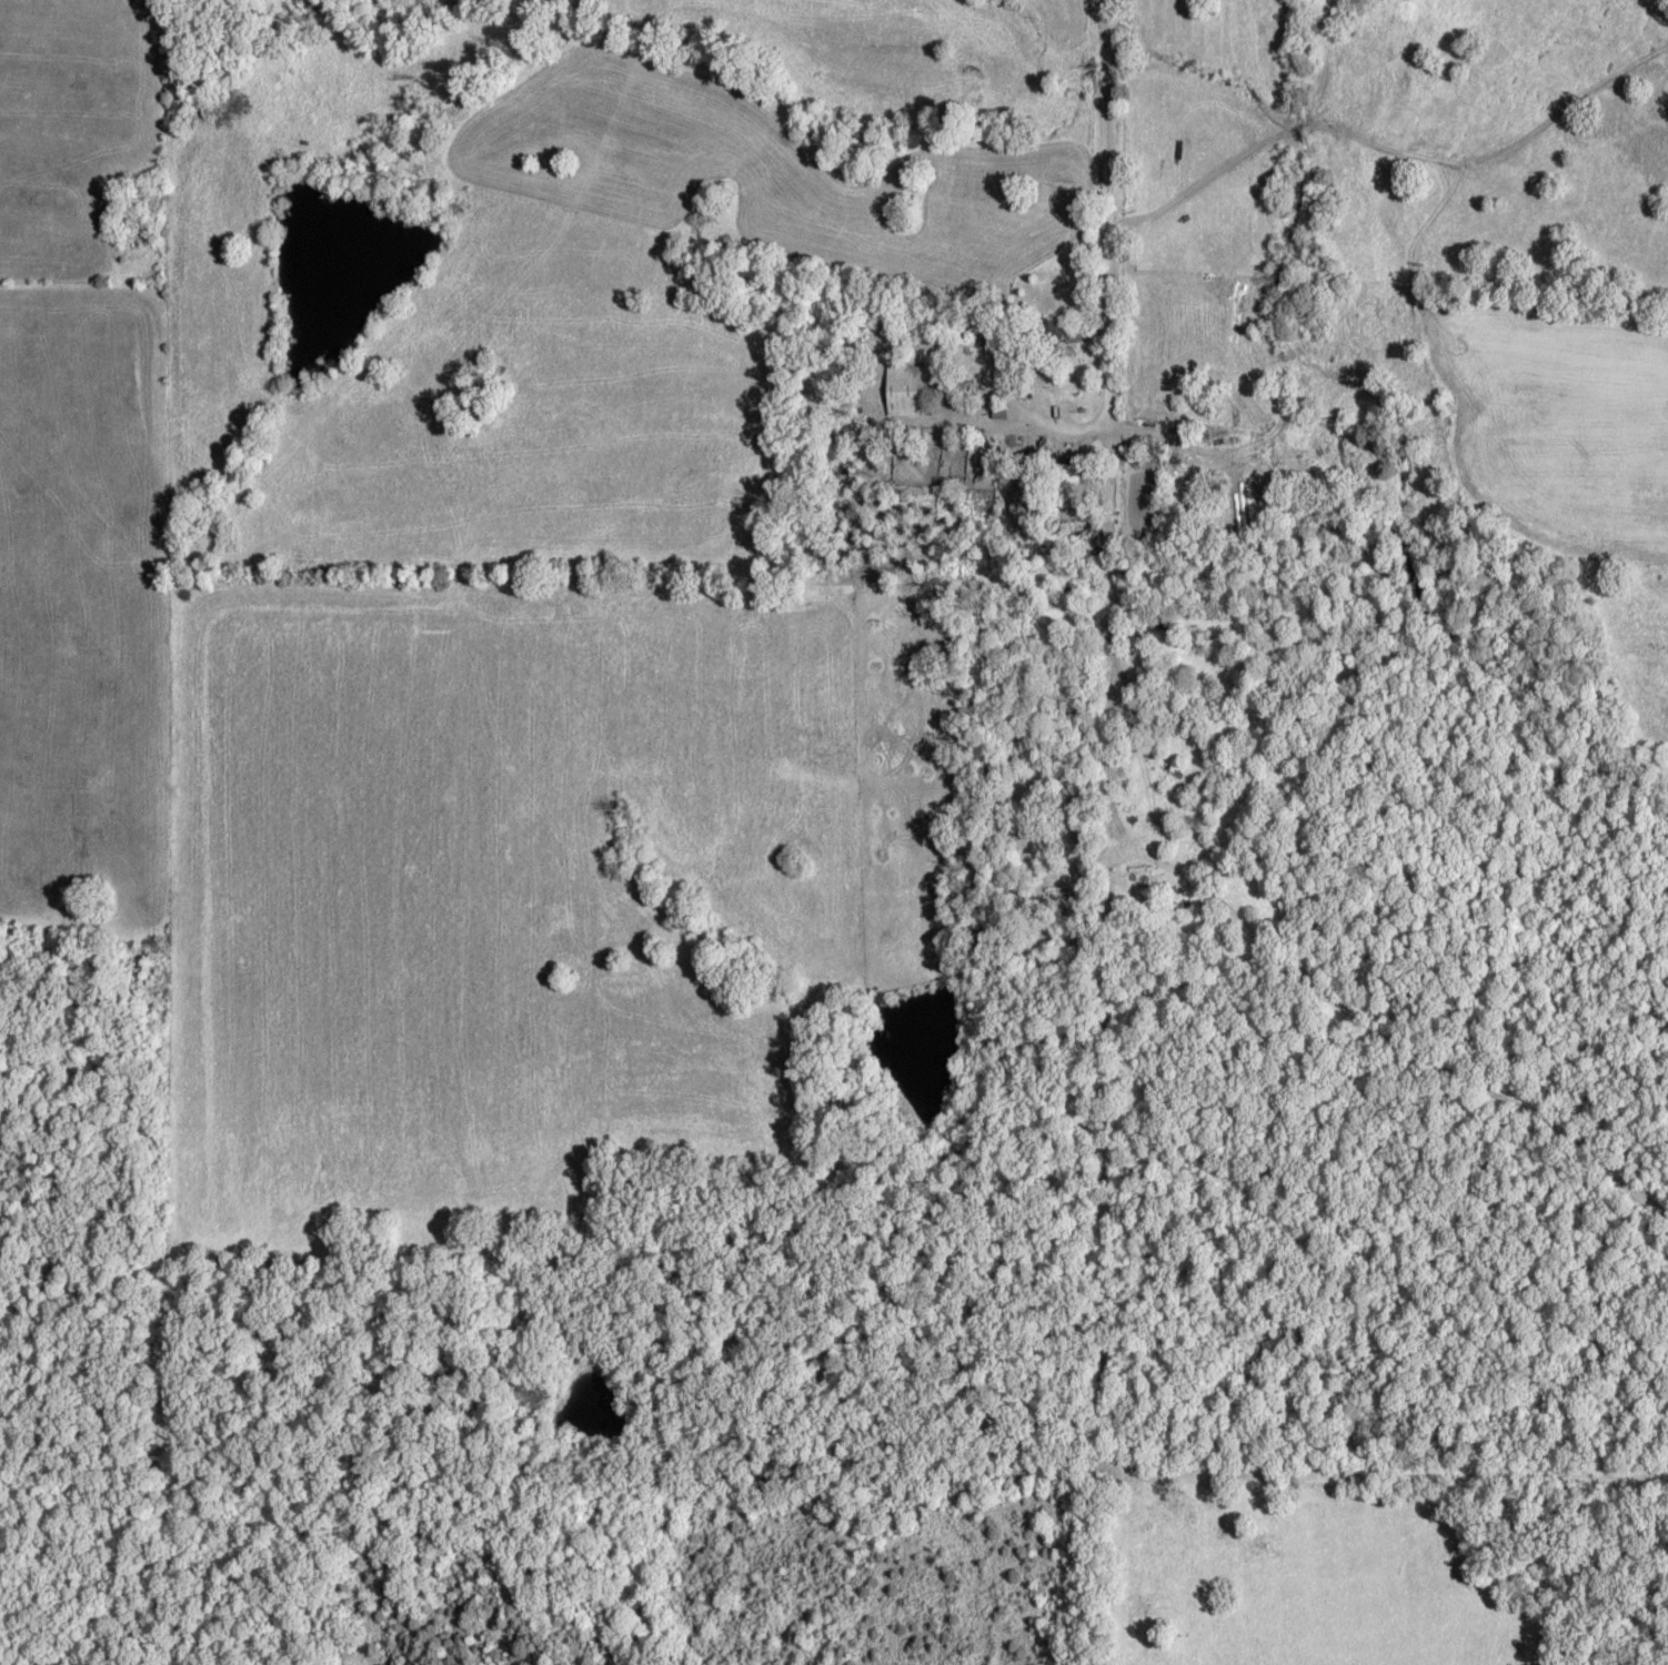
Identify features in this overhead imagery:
road: (1103, 205)
building: (1037, 333)
building: (908, 391)
building: (1062, 485)

